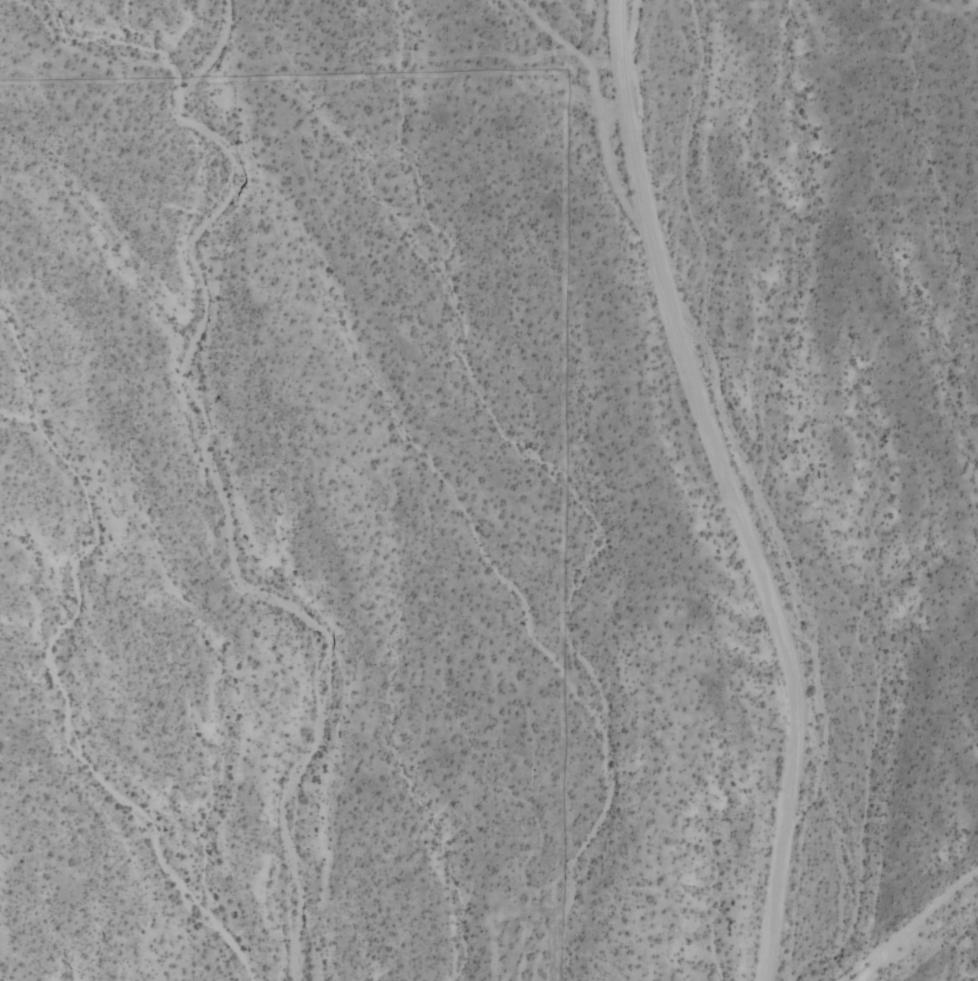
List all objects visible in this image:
road: (728, 489)

